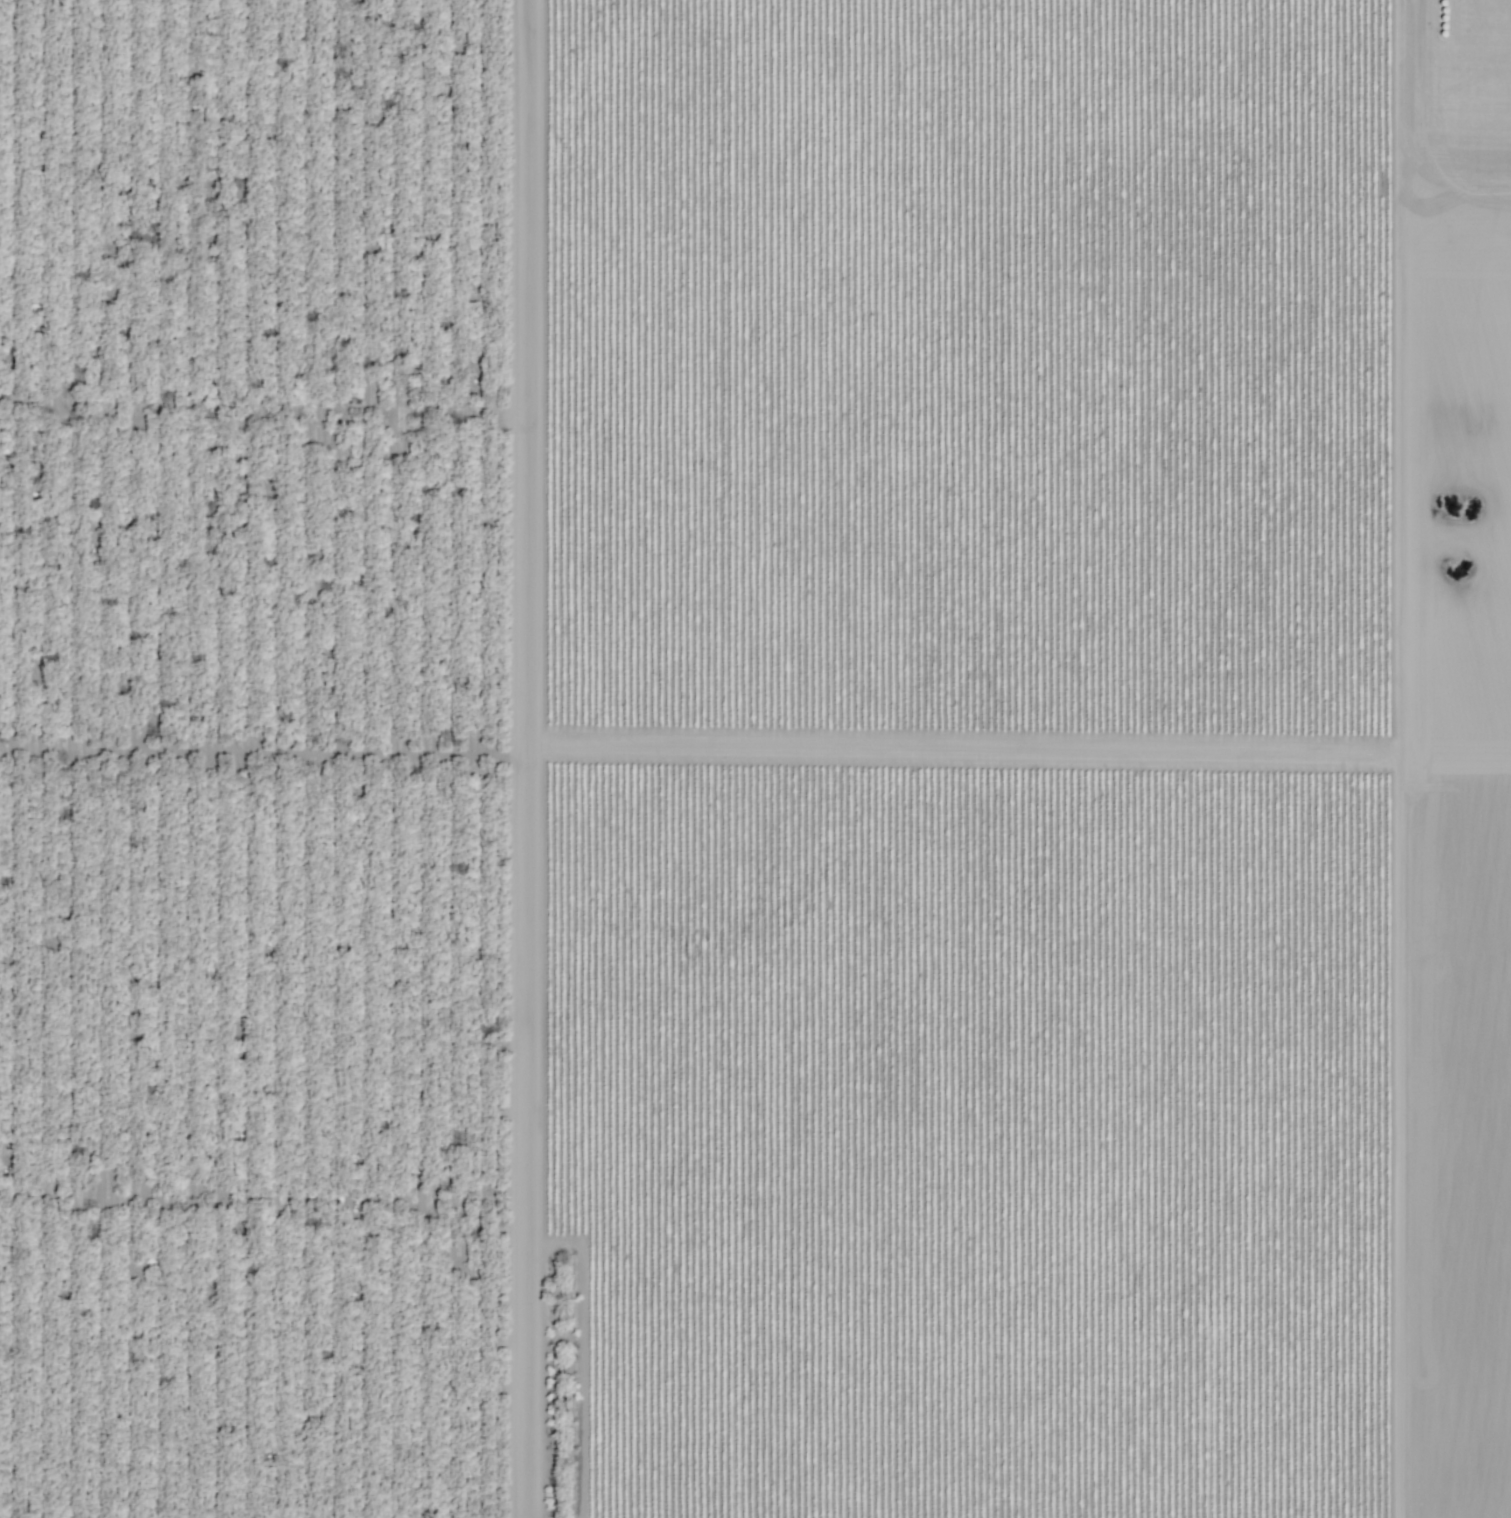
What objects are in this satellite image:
crop: (1454, 370)
crop: (1452, 1135)

